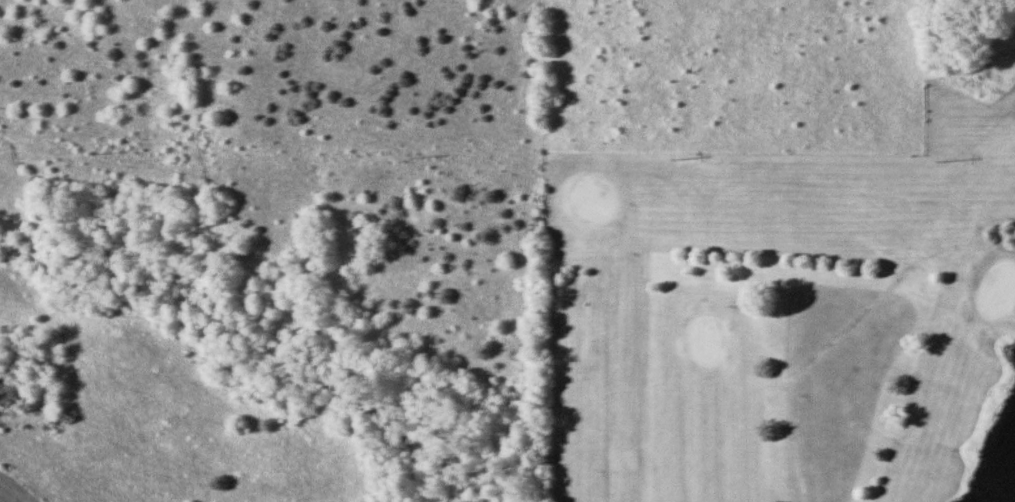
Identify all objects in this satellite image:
road: (1005, 118)

